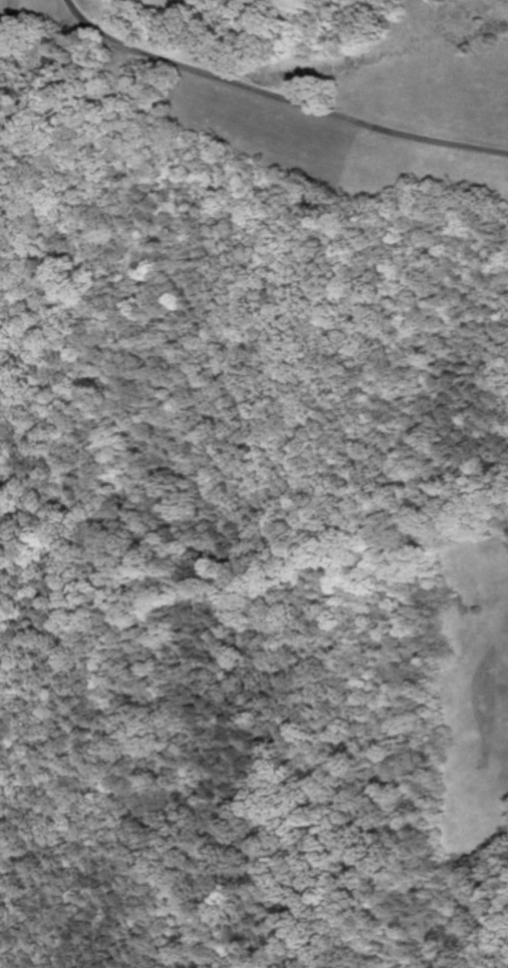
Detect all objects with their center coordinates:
road: (7, 32)
road: (283, 95)

